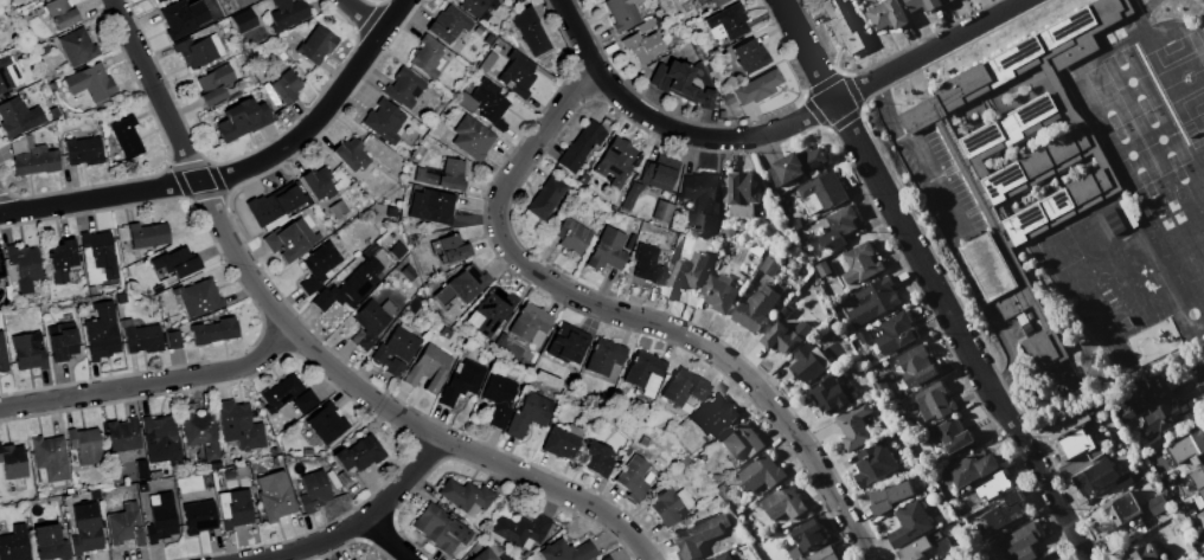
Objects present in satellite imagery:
building: (32, 0)
building: (33, 0)
building: (154, 1)
building: (159, 1)
building: (700, 1)
building: (717, 1)
building: (243, 2)
building: (922, 4)
building: (479, 7)
building: (60, 13)
building: (622, 13)
building: (287, 14)
building: (886, 14)
road: (363, 15)
building: (184, 18)
building: (243, 21)
building: (728, 22)
building: (447, 25)
building: (646, 26)
building: (841, 28)
building: (531, 31)
building: (316, 45)
building: (642, 46)
building: (77, 47)
building: (199, 50)
building: (750, 54)
building: (425, 57)
building: (487, 62)
building: (515, 73)
building: (9, 75)
building: (90, 82)
building: (214, 84)
building: (680, 84)
building: (286, 86)
building: (403, 88)
building: (756, 88)
building: (726, 98)
building: (485, 103)
road: (807, 115)
building: (19, 117)
building: (242, 120)
building: (383, 121)
building: (127, 137)
building: (472, 137)
building: (579, 147)
building: (83, 150)
building: (351, 154)
building: (32, 157)
building: (1022, 157)
building: (619, 159)
building: (795, 165)
road: (238, 169)
building: (441, 173)
building: (662, 174)
building: (319, 184)
building: (824, 189)
building: (739, 194)
building: (630, 195)
building: (545, 197)
building: (702, 199)
building: (277, 202)
building: (430, 205)
road: (1, 210)
building: (662, 212)
building: (794, 218)
building: (832, 227)
building: (148, 234)
road: (955, 234)
building: (571, 236)
building: (290, 239)
building: (802, 243)
building: (453, 247)
building: (398, 250)
building: (607, 250)
building: (97, 256)
building: (62, 259)
building: (177, 262)
building: (860, 263)
building: (24, 265)
building: (319, 265)
building: (647, 265)
building: (769, 265)
building: (1, 268)
building: (822, 268)
building: (689, 270)
building: (408, 272)
road: (928, 282)
building: (462, 284)
building: (351, 287)
building: (719, 291)
building: (200, 298)
building: (872, 301)
road: (590, 303)
building: (755, 308)
building: (494, 309)
building: (371, 322)
building: (530, 322)
building: (213, 330)
building: (101, 332)
building: (894, 333)
building: (784, 335)
building: (143, 339)
building: (60, 340)
building: (174, 340)
building: (568, 343)
road: (309, 348)
building: (396, 350)
building: (27, 352)
building: (2, 355)
building: (603, 356)
building: (808, 362)
building: (916, 363)
building: (429, 368)
road: (1197, 368)
building: (645, 372)
road: (150, 382)
building: (462, 382)
building: (684, 387)
building: (1147, 391)
building: (281, 393)
building: (831, 393)
building: (499, 399)
building: (933, 400)
building: (305, 401)
building: (1125, 413)
building: (530, 414)
building: (712, 416)
building: (1164, 417)
building: (1071, 418)
building: (327, 423)
building: (238, 425)
building: (854, 426)
building: (950, 433)
building: (122, 435)
building: (201, 435)
building: (161, 439)
building: (562, 440)
building: (741, 442)
building: (1074, 444)
building: (84, 445)
building: (1187, 448)
building: (359, 453)
building: (50, 457)
building: (596, 458)
building: (12, 461)
building: (872, 463)
building: (971, 469)
building: (760, 474)
building: (1197, 476)
building: (632, 477)
building: (1095, 477)
building: (993, 485)
building: (314, 490)
building: (1202, 493)
building: (465, 494)
building: (275, 495)
building: (889, 495)
building: (783, 503)
building: (1157, 504)
building: (1121, 507)
building: (233, 508)
building: (666, 508)
building: (1001, 511)
building: (198, 516)
building: (1200, 517)
building: (162, 519)
road: (359, 521)
building: (908, 523)
building: (124, 526)
building: (440, 528)
building: (85, 529)
building: (520, 529)
building: (807, 534)
building: (698, 535)
road: (385, 539)
building: (1023, 541)
building: (14, 543)
building: (49, 543)
building: (914, 548)
building: (568, 552)
building: (1144, 553)
building: (483, 554)
building: (822, 554)
building: (723, 556)
building: (607, 558)
building: (924, 559)
building: (935, 559)

